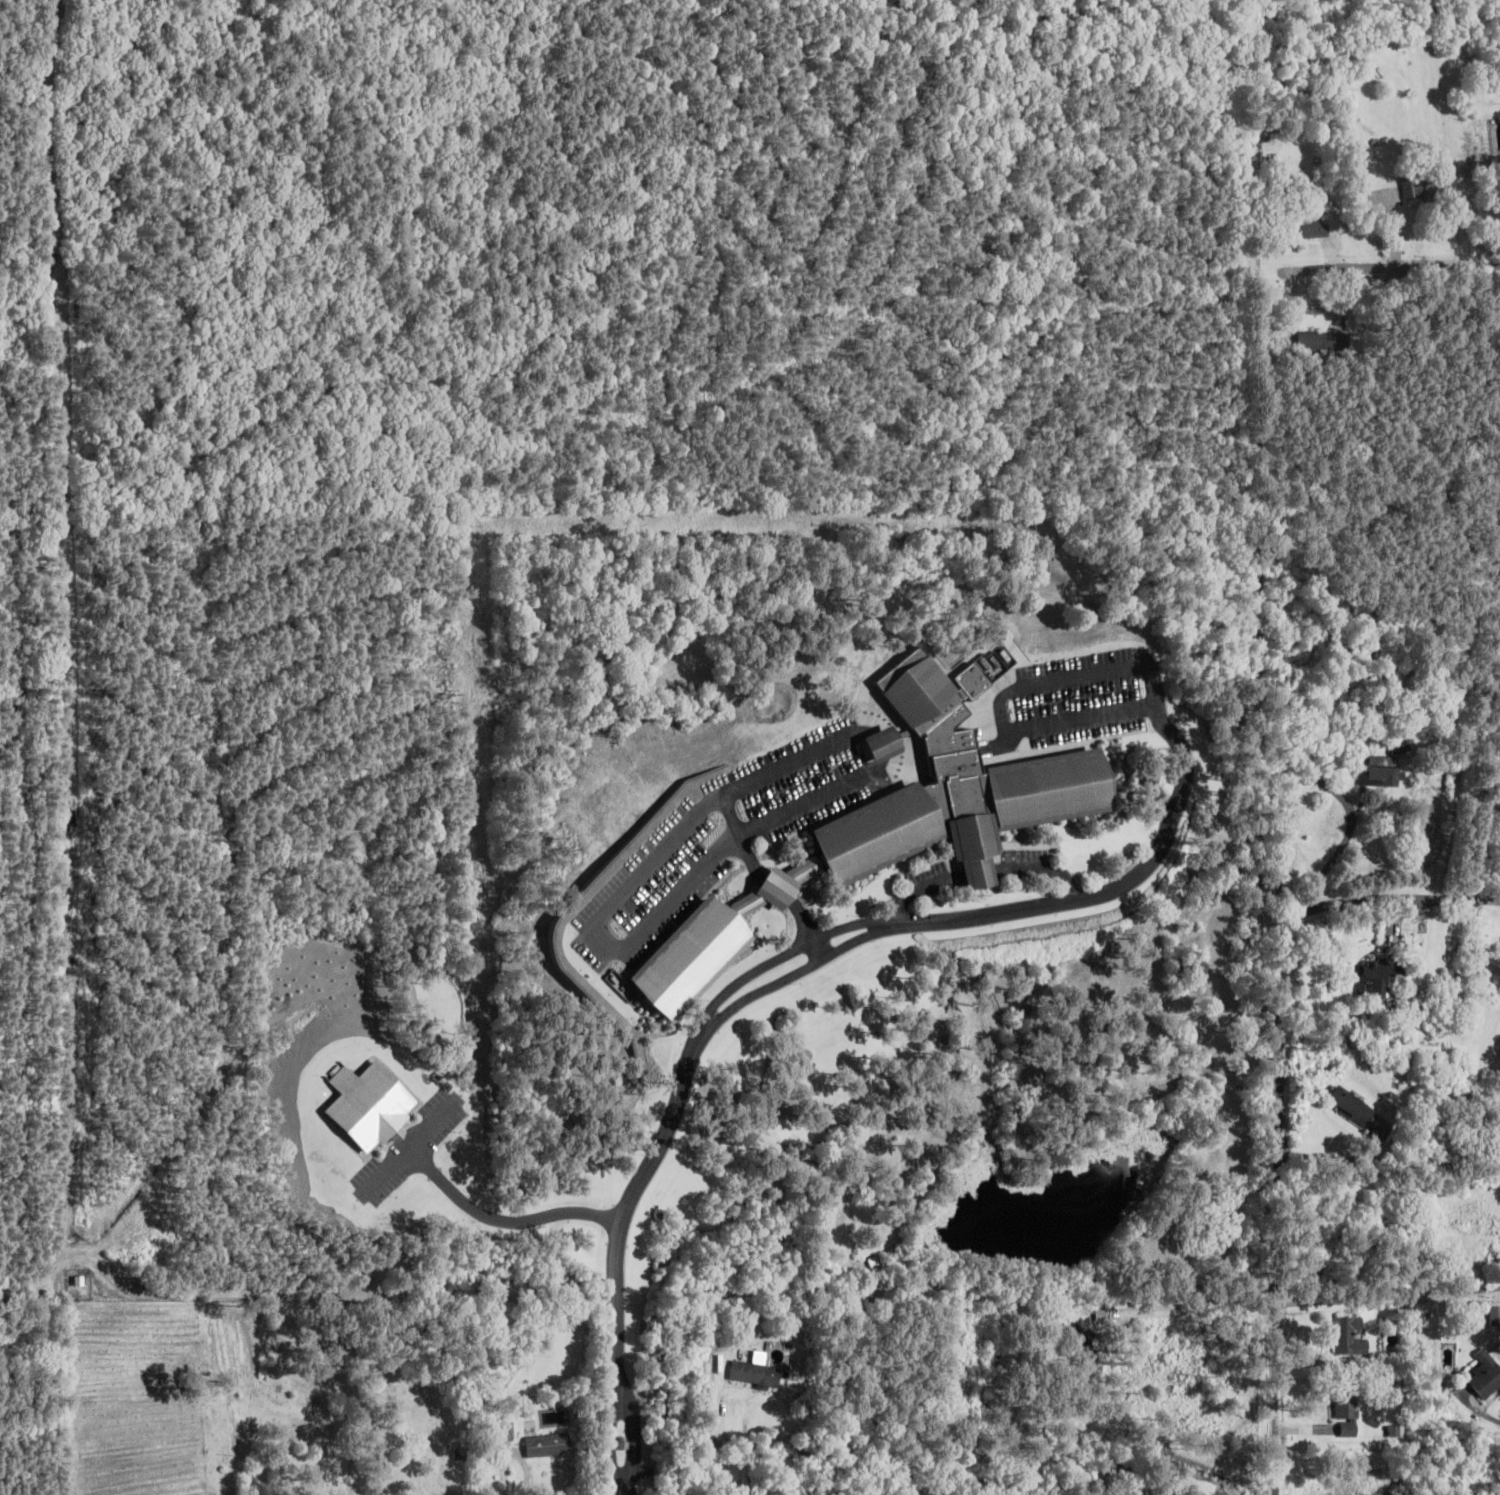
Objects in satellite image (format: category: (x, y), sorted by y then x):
building: (1428, 185)
building: (1306, 226)
road: (1389, 263)
building: (1324, 341)
building: (883, 744)
building: (1399, 745)
building: (1381, 773)
building: (955, 786)
building: (1377, 976)
road: (1281, 1046)
building: (1349, 1105)
building: (1495, 1315)
building: (1348, 1335)
building: (1084, 1345)
building: (755, 1373)
building: (1486, 1375)
building: (1345, 1418)
building: (312, 1434)
building: (548, 1444)
building: (1161, 1490)
building: (459, 1492)

